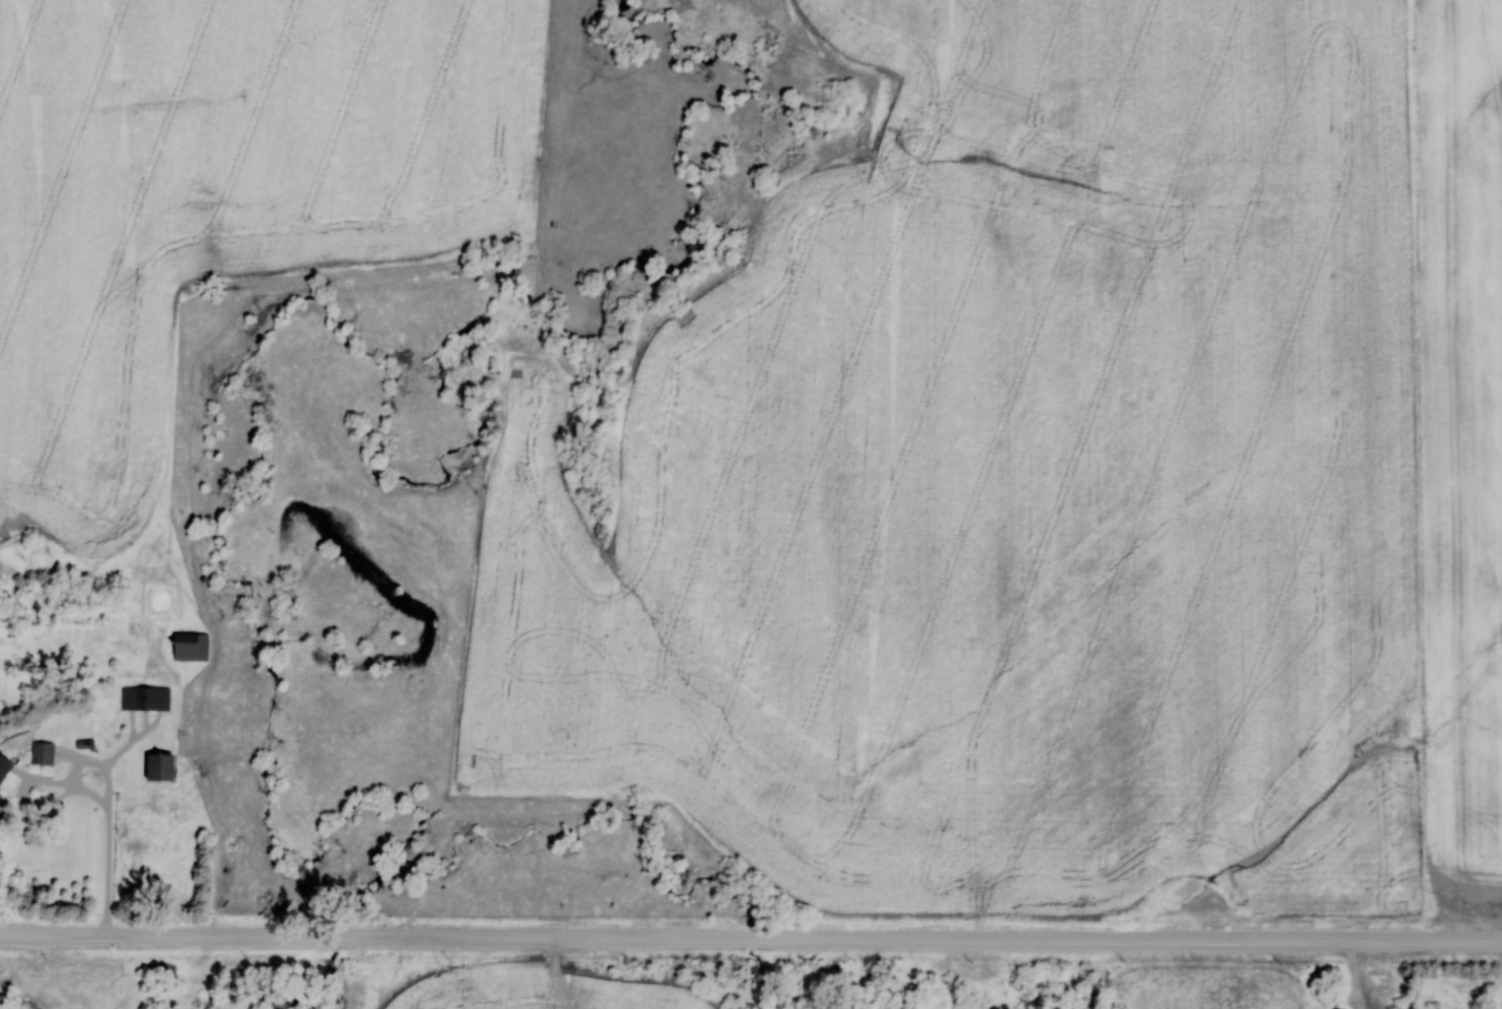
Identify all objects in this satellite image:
building: (187, 646)
building: (143, 698)
building: (39, 753)
building: (2, 766)
building: (155, 767)
road: (750, 939)
building: (1431, 1005)

